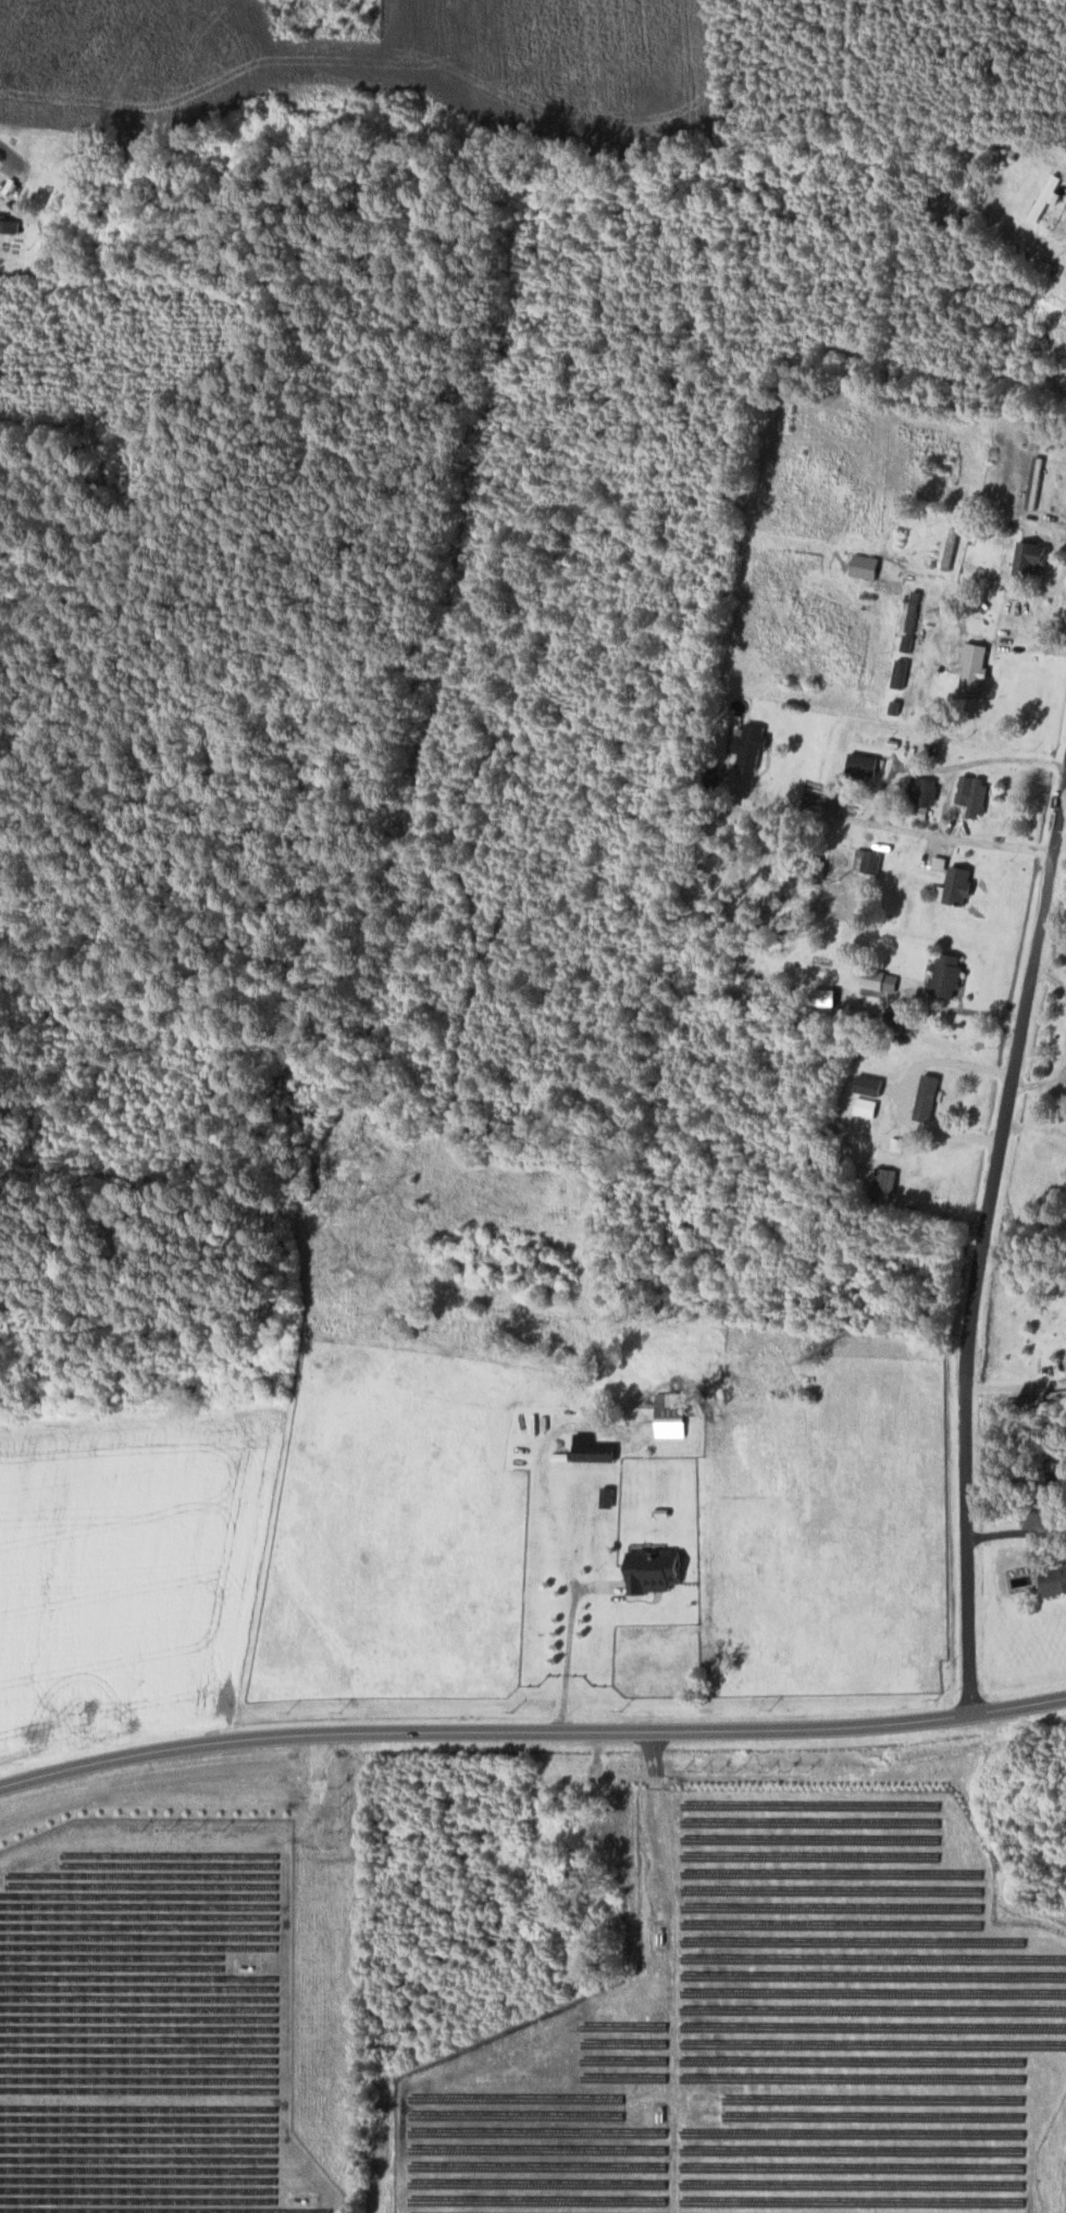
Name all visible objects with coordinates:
road: (8, 154)
building: (1046, 196)
building: (11, 223)
road: (927, 404)
building: (1037, 481)
building: (1033, 555)
building: (868, 565)
building: (915, 609)
building: (908, 642)
building: (977, 669)
building: (902, 672)
building: (753, 744)
building: (866, 762)
road: (880, 792)
building: (925, 792)
building: (975, 792)
road: (1061, 823)
building: (869, 860)
building: (950, 974)
building: (902, 1014)
building: (870, 1084)
building: (928, 1096)
building: (867, 1105)
road: (978, 1236)
road: (1015, 1386)
building: (672, 1413)
building: (596, 1448)
building: (1056, 1579)
road: (531, 1727)
solar farm: (151, 2020)

